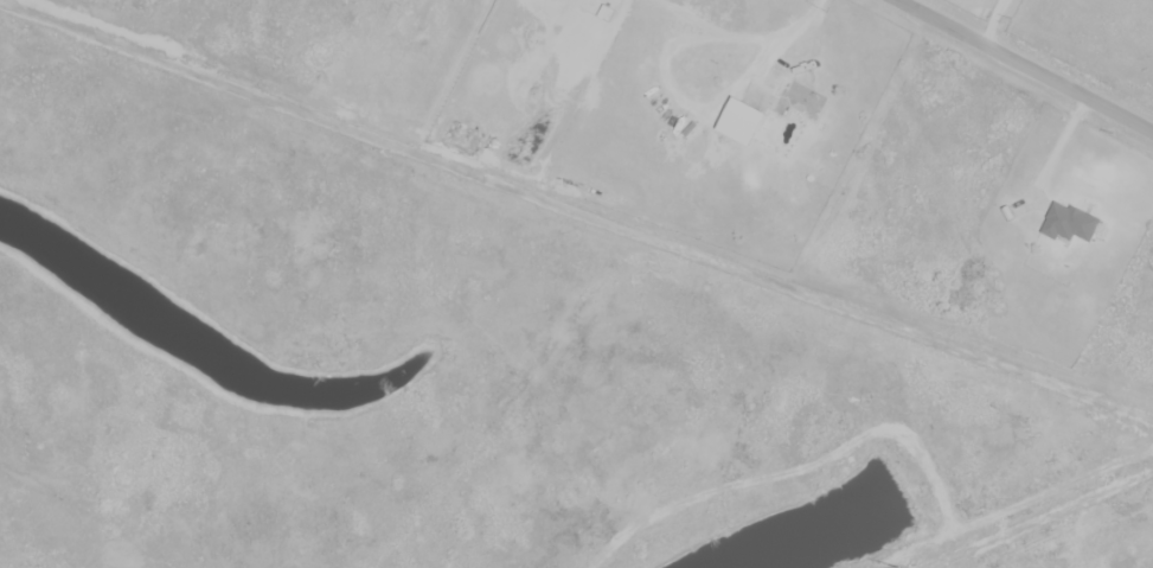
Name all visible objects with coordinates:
road: (816, 6)
building: (598, 8)
road: (989, 21)
road: (1023, 66)
road: (786, 68)
building: (800, 102)
building: (745, 120)
road: (1049, 155)
building: (1069, 224)

